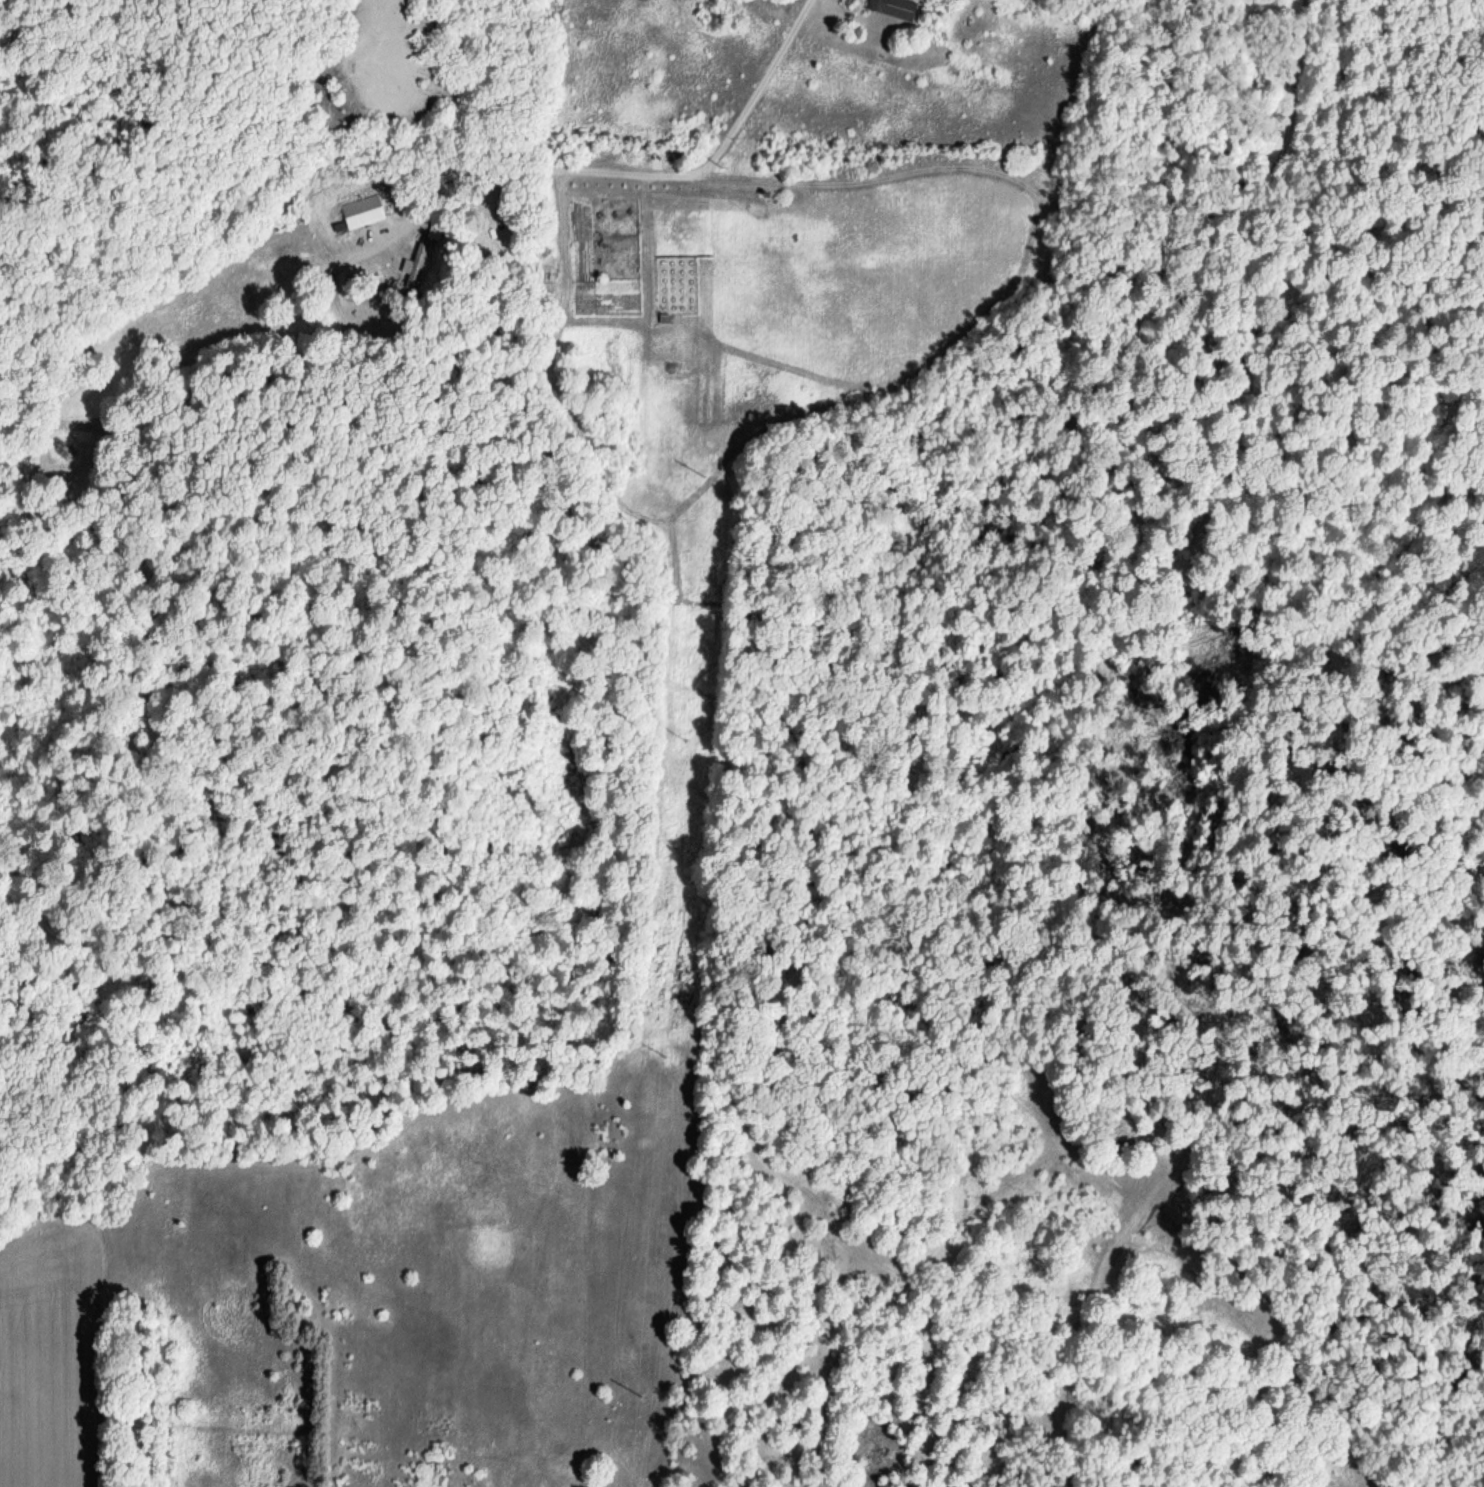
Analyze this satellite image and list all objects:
building: (892, 9)

